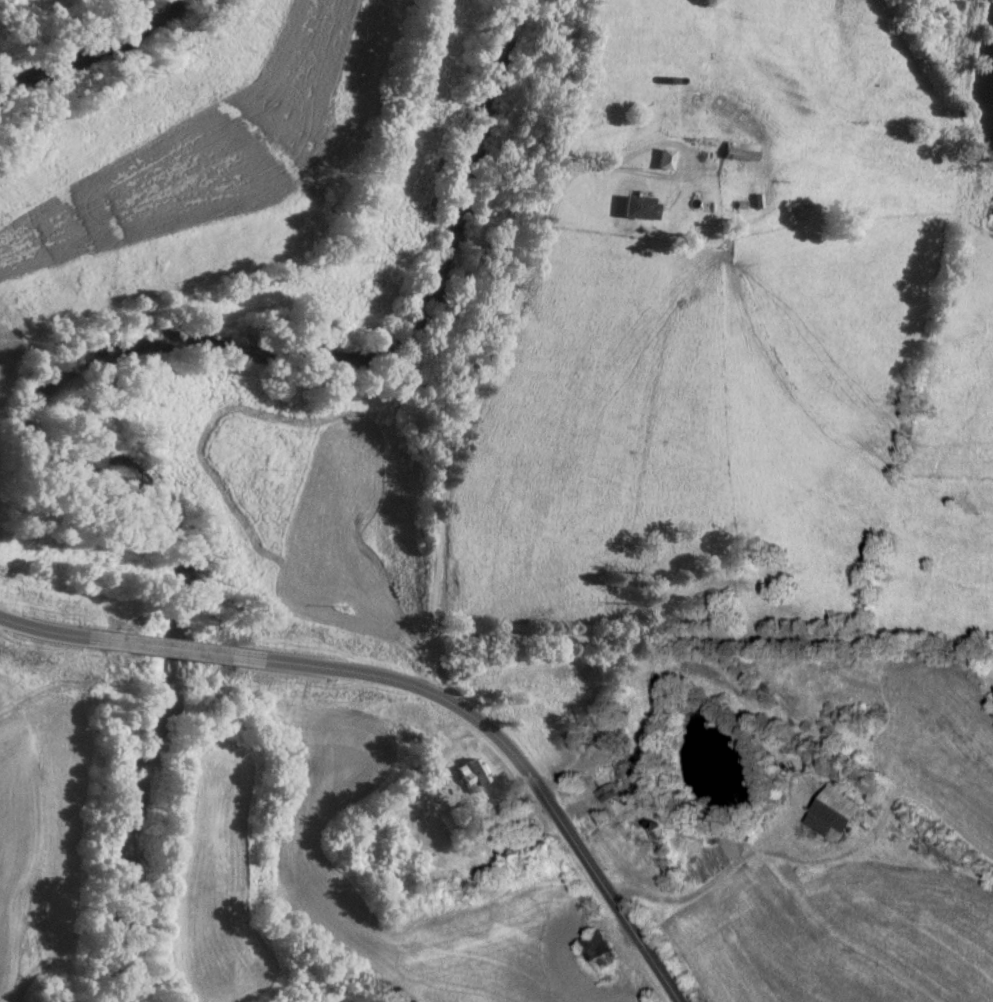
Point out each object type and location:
river: (100, 60)
building: (736, 153)
building: (664, 161)
building: (638, 209)
building: (991, 224)
river: (63, 380)
road: (411, 682)
building: (469, 777)
building: (605, 794)
building: (829, 816)
building: (596, 952)

